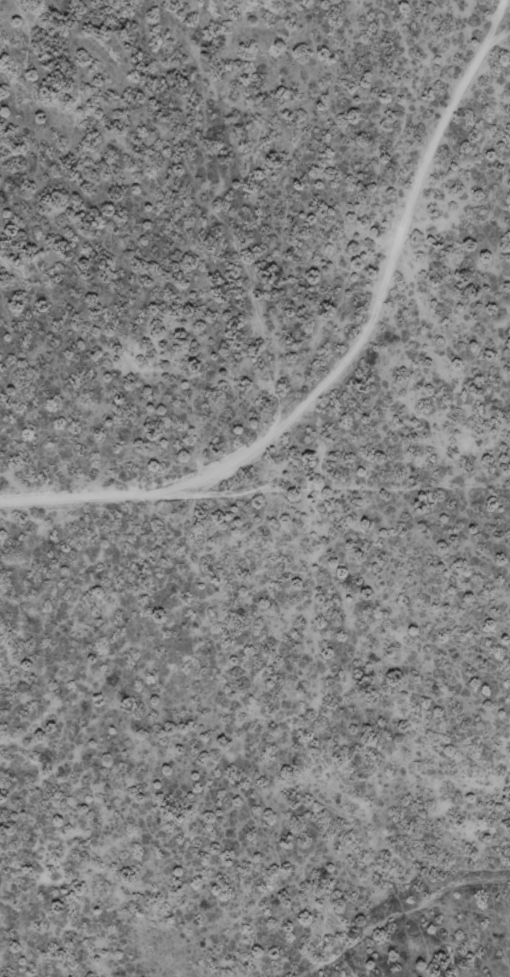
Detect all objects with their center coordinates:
road: (340, 356)

